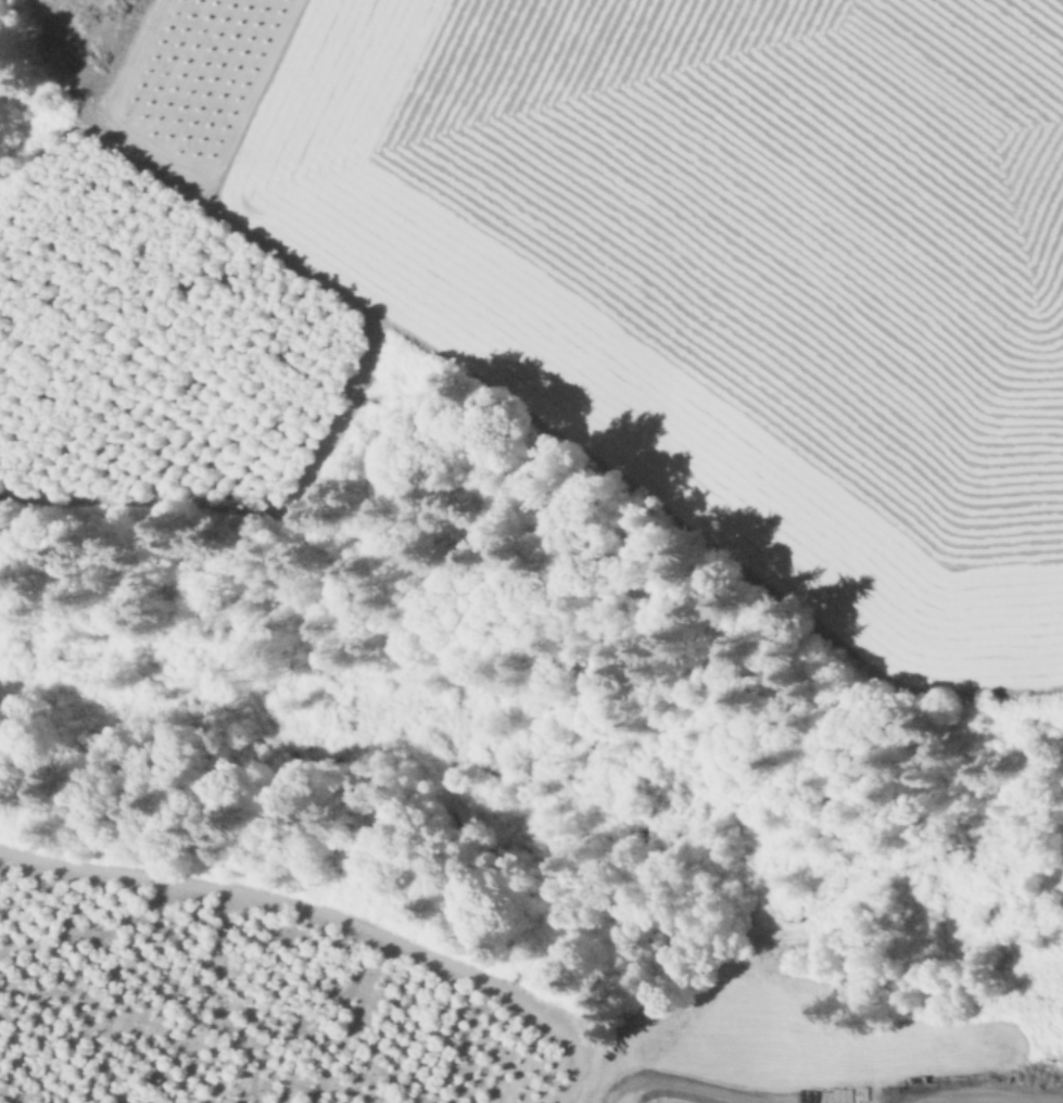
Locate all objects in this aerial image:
crop: (678, 272)
road: (679, 1083)
road: (987, 1098)

